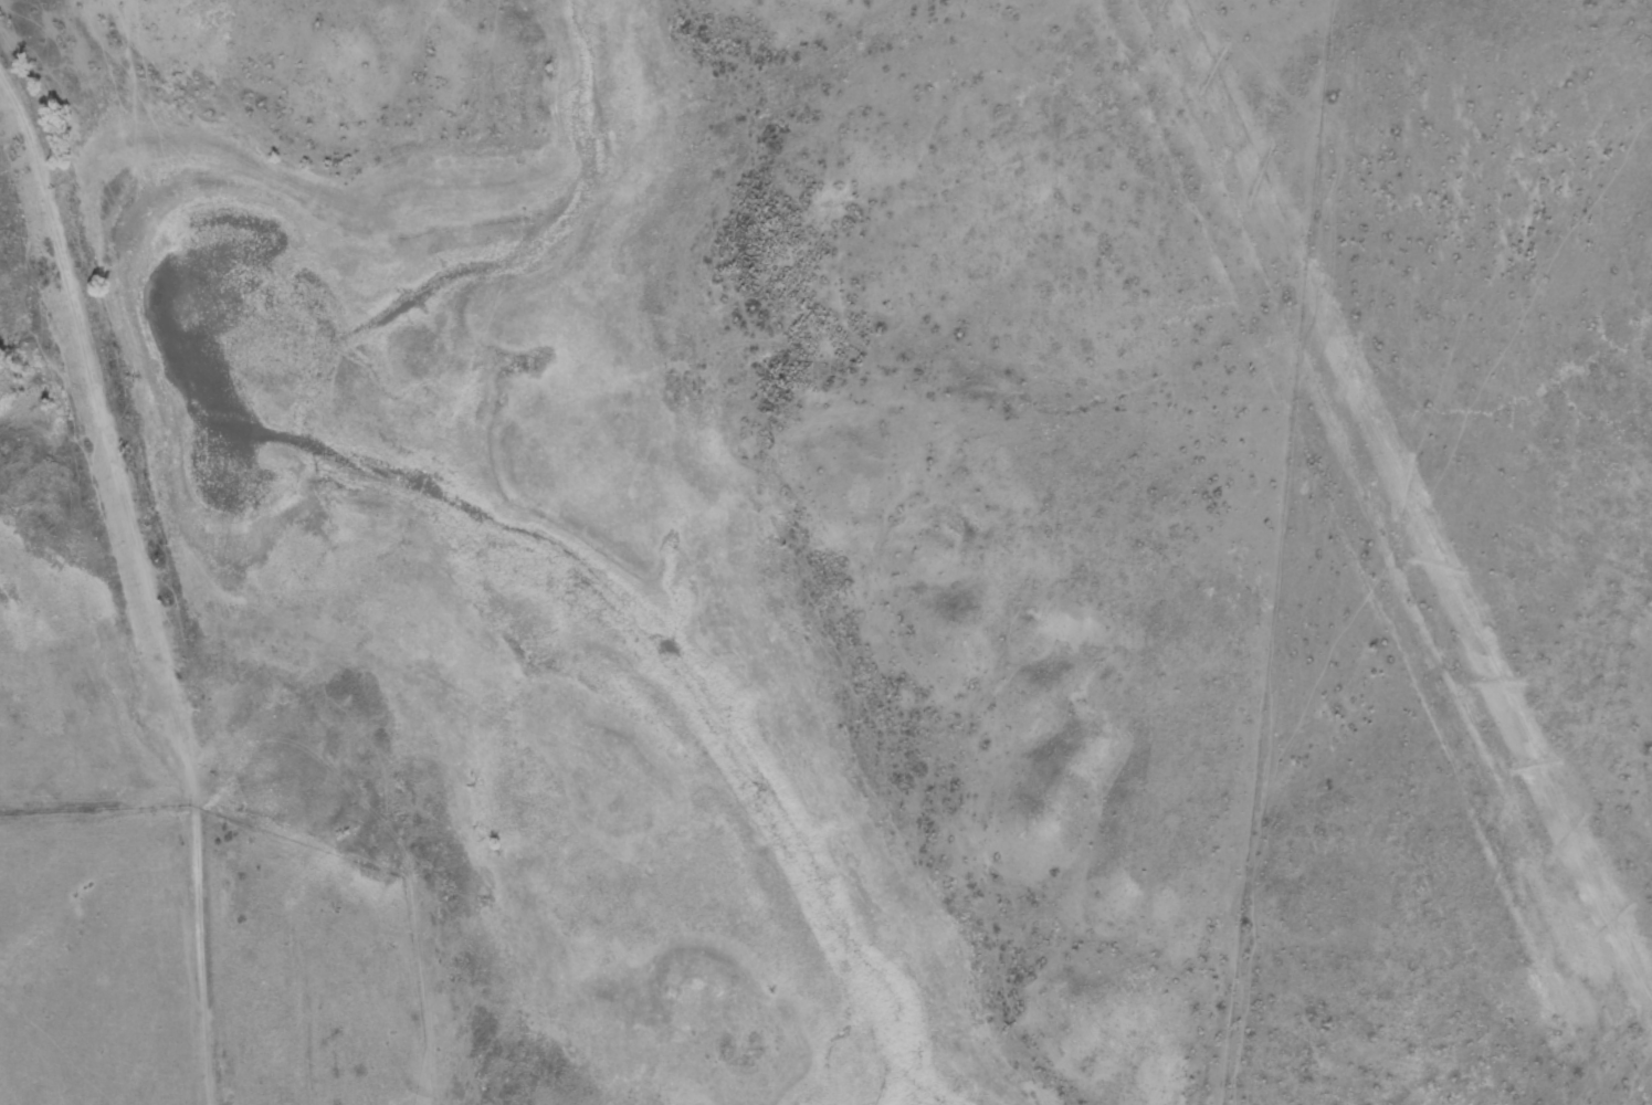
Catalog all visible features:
road: (1258, 326)
road: (122, 651)

